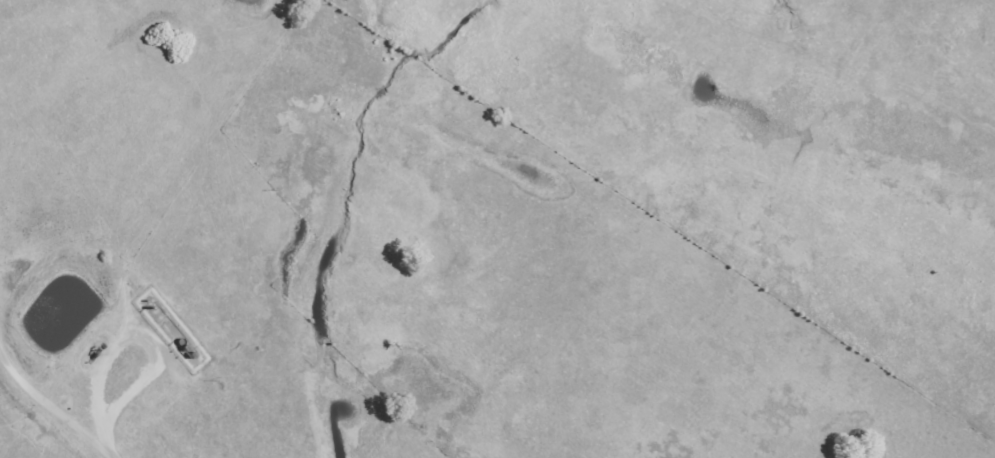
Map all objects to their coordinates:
road: (51, 409)

